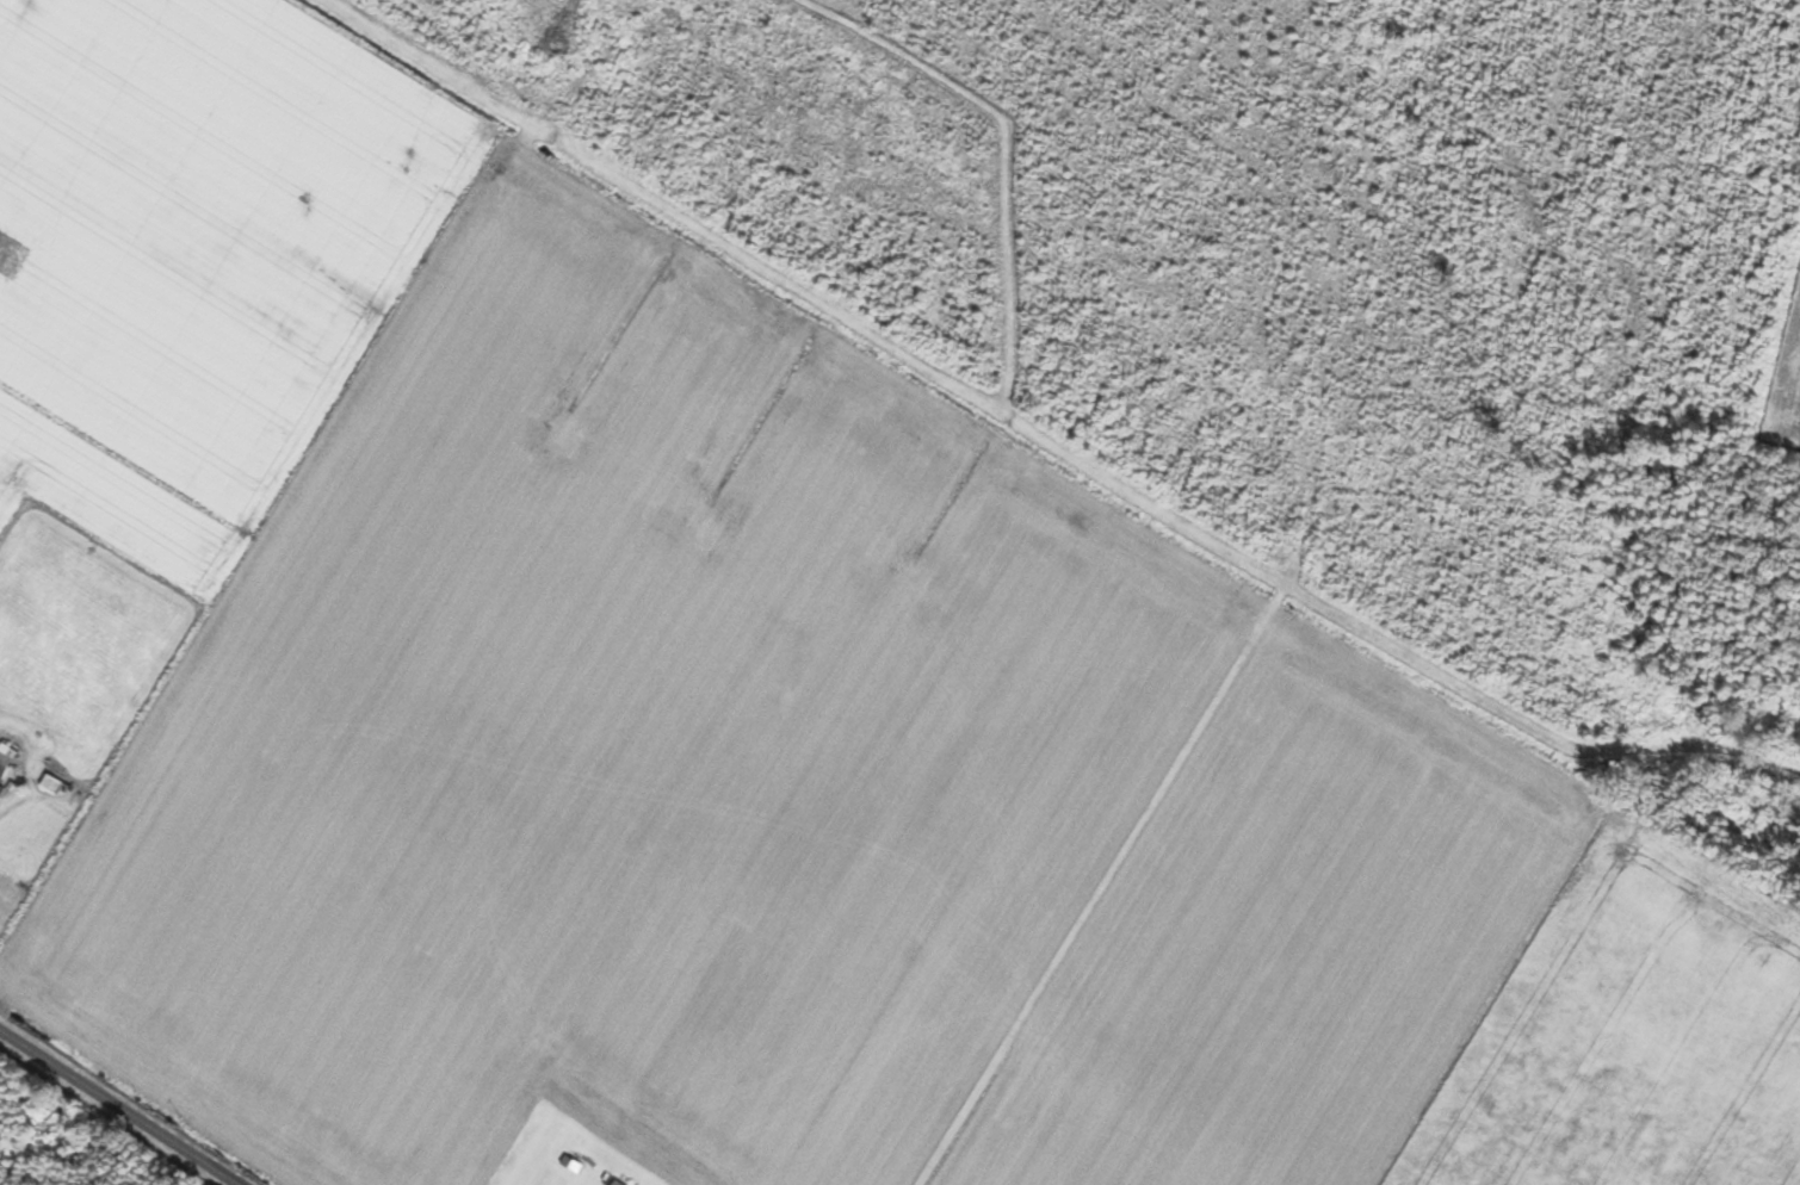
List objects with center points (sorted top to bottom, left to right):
building: (4, 764)
road: (119, 1106)
building: (573, 1164)
building: (619, 1183)

